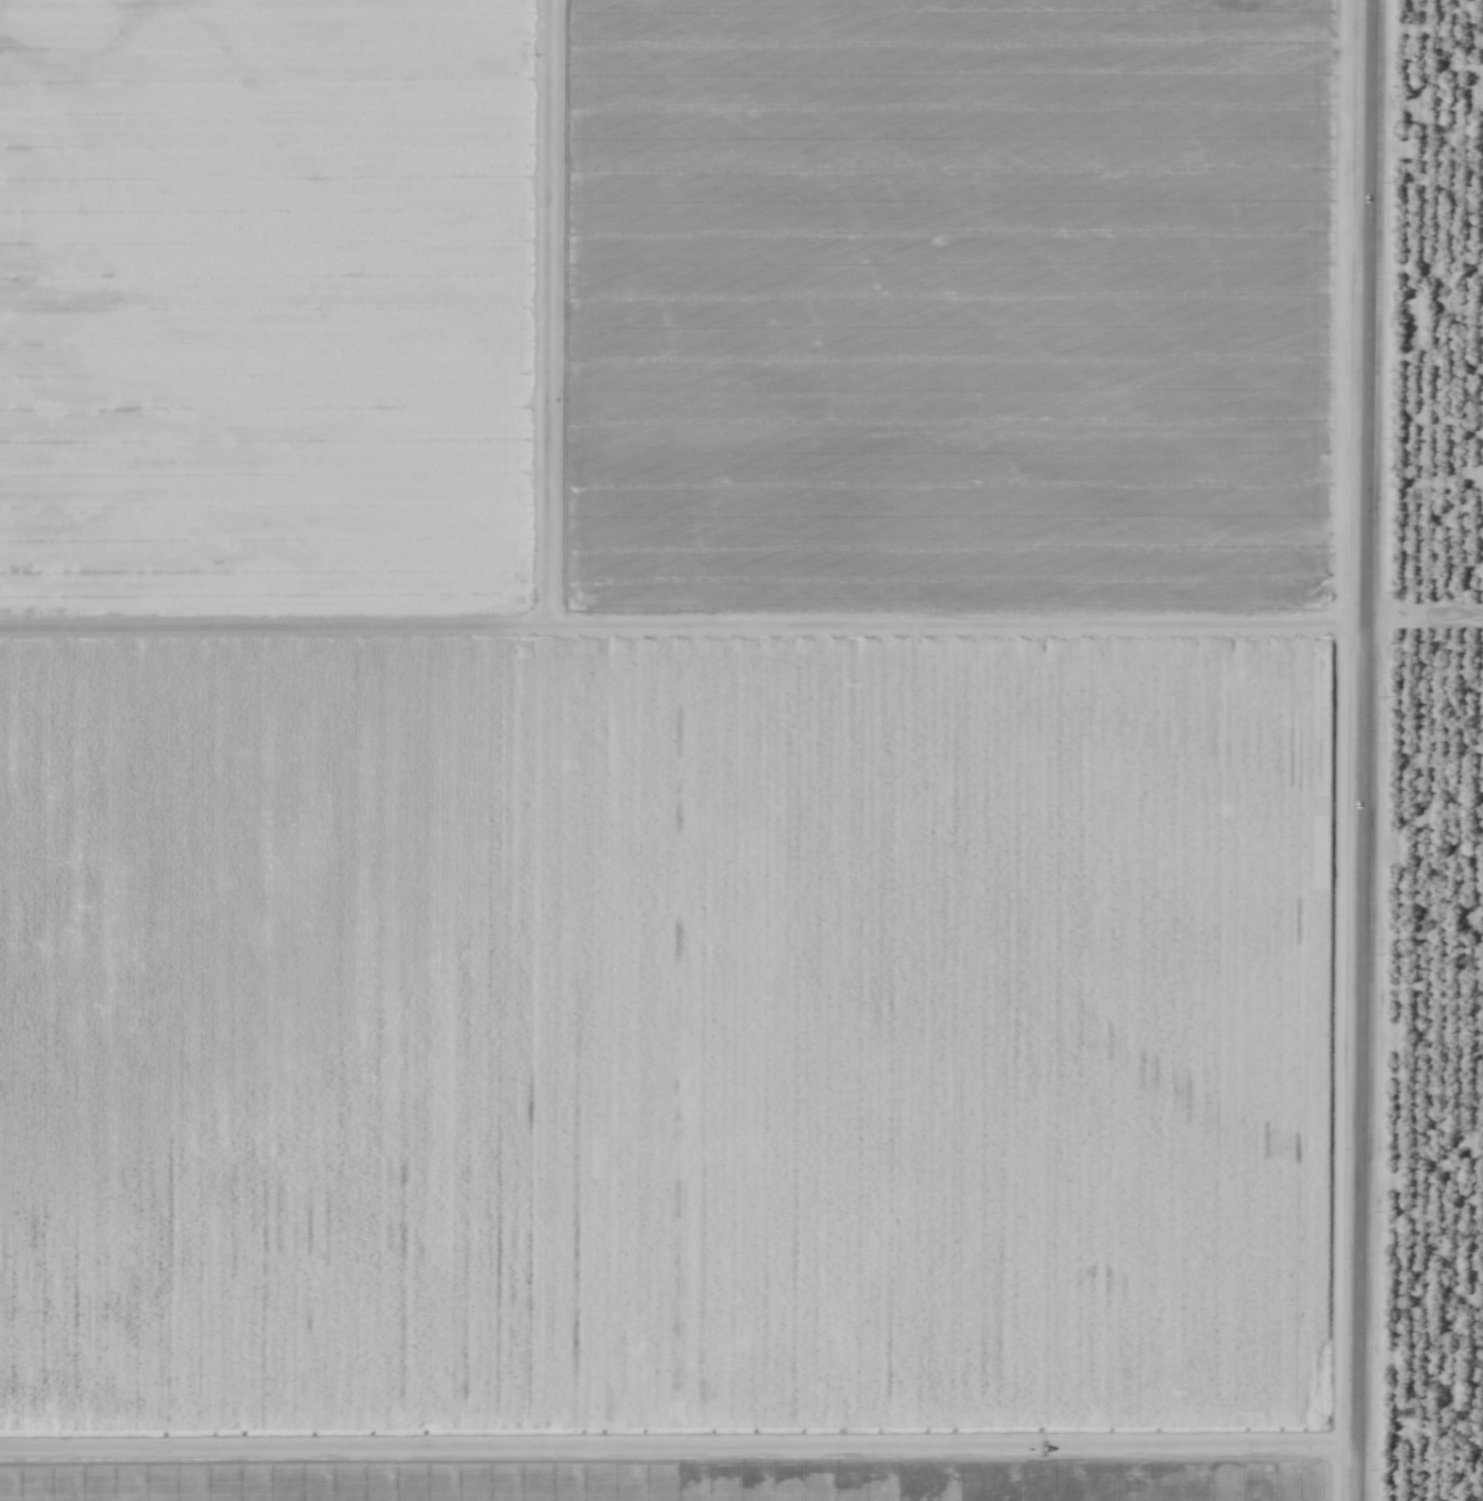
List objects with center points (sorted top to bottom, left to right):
crop: (741, 750)
road: (1366, 750)

